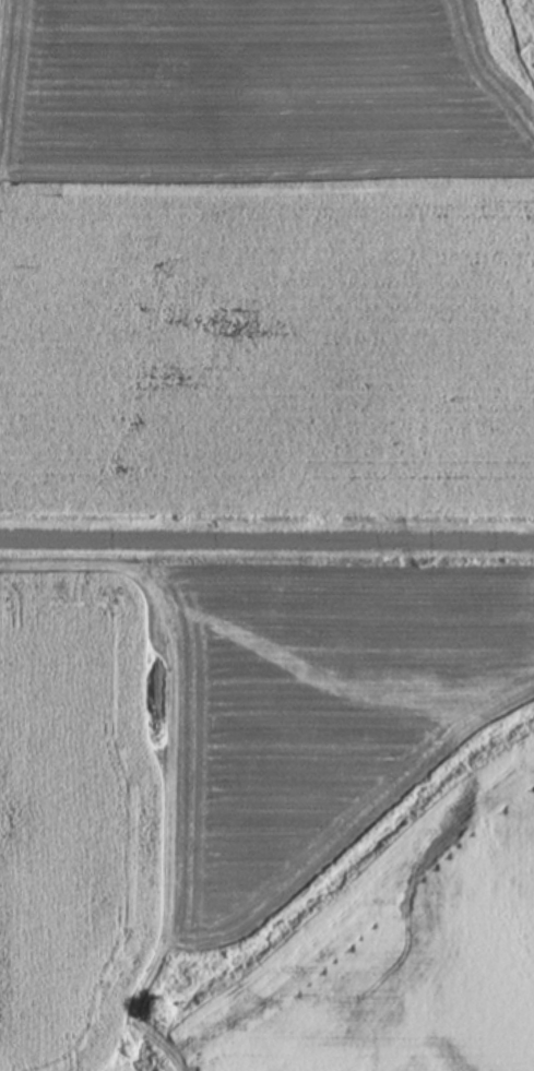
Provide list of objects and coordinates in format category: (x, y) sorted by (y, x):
road: (266, 540)

